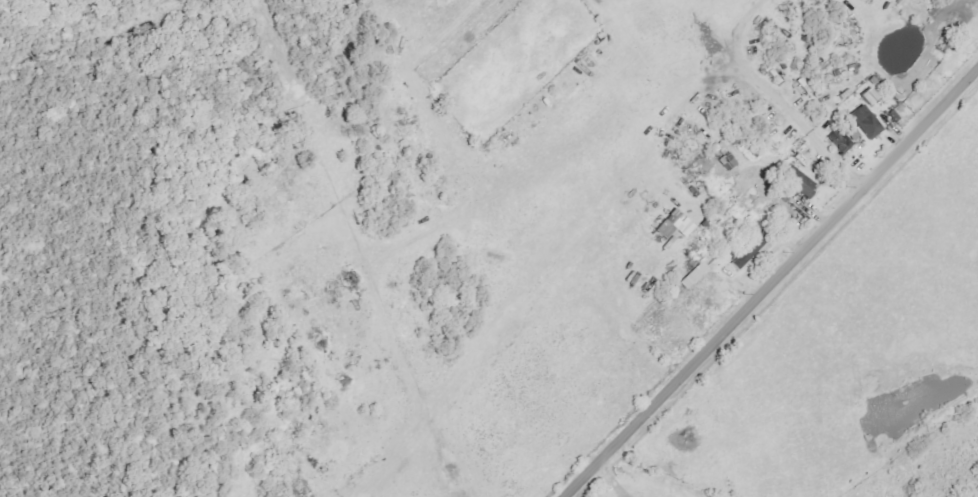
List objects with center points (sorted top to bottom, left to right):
building: (873, 96)
road: (778, 100)
building: (868, 122)
building: (841, 140)
building: (729, 162)
building: (805, 185)
building: (677, 225)
building: (748, 253)
road: (774, 284)

